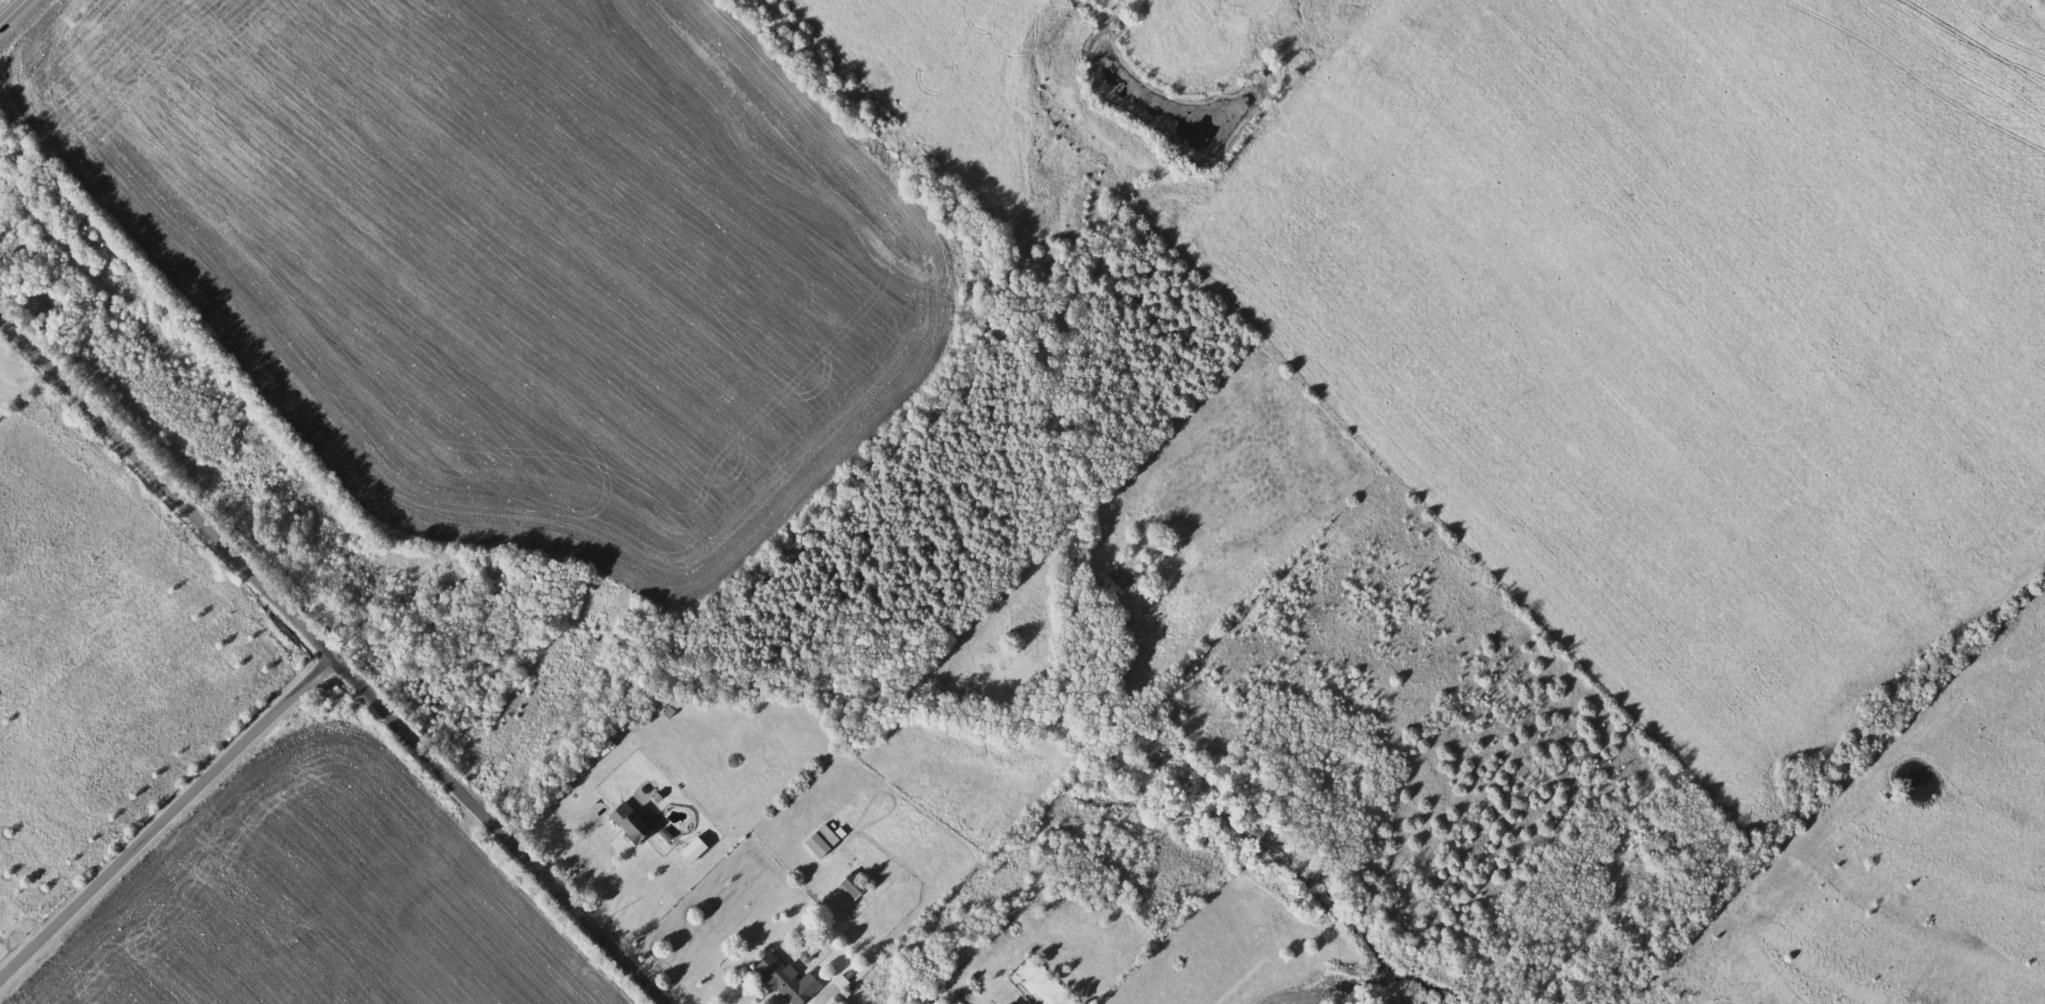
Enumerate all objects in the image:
road: (33, 0)
road: (17, 16)
road: (334, 658)
road: (164, 813)
building: (635, 824)
road: (601, 828)
building: (827, 841)
building: (856, 886)
building: (790, 981)
road: (825, 1001)

